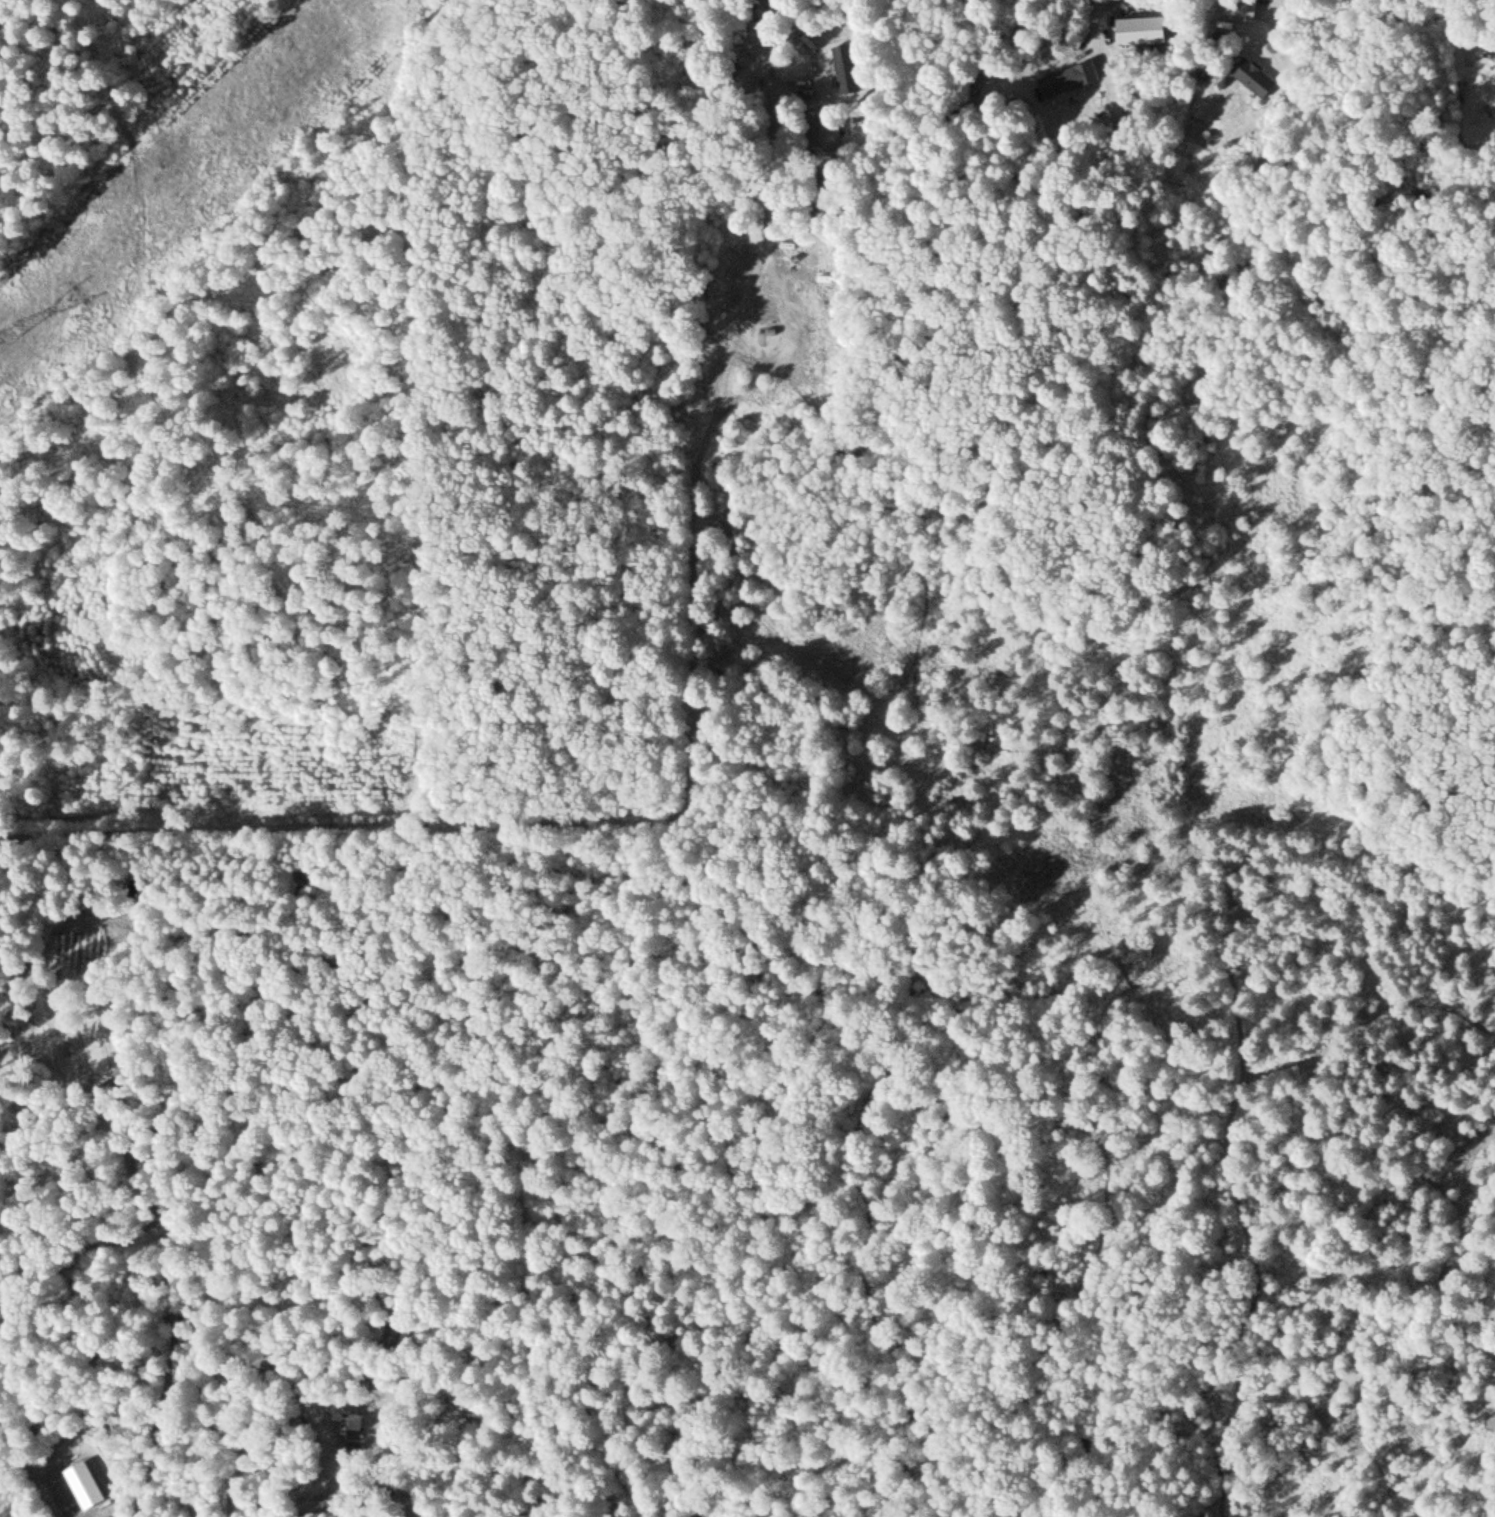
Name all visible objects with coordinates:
building: (1246, 19)
building: (1262, 80)
building: (1076, 81)
building: (830, 133)
road: (879, 137)
road: (1138, 138)
power tower: (9, 331)
road: (419, 613)

